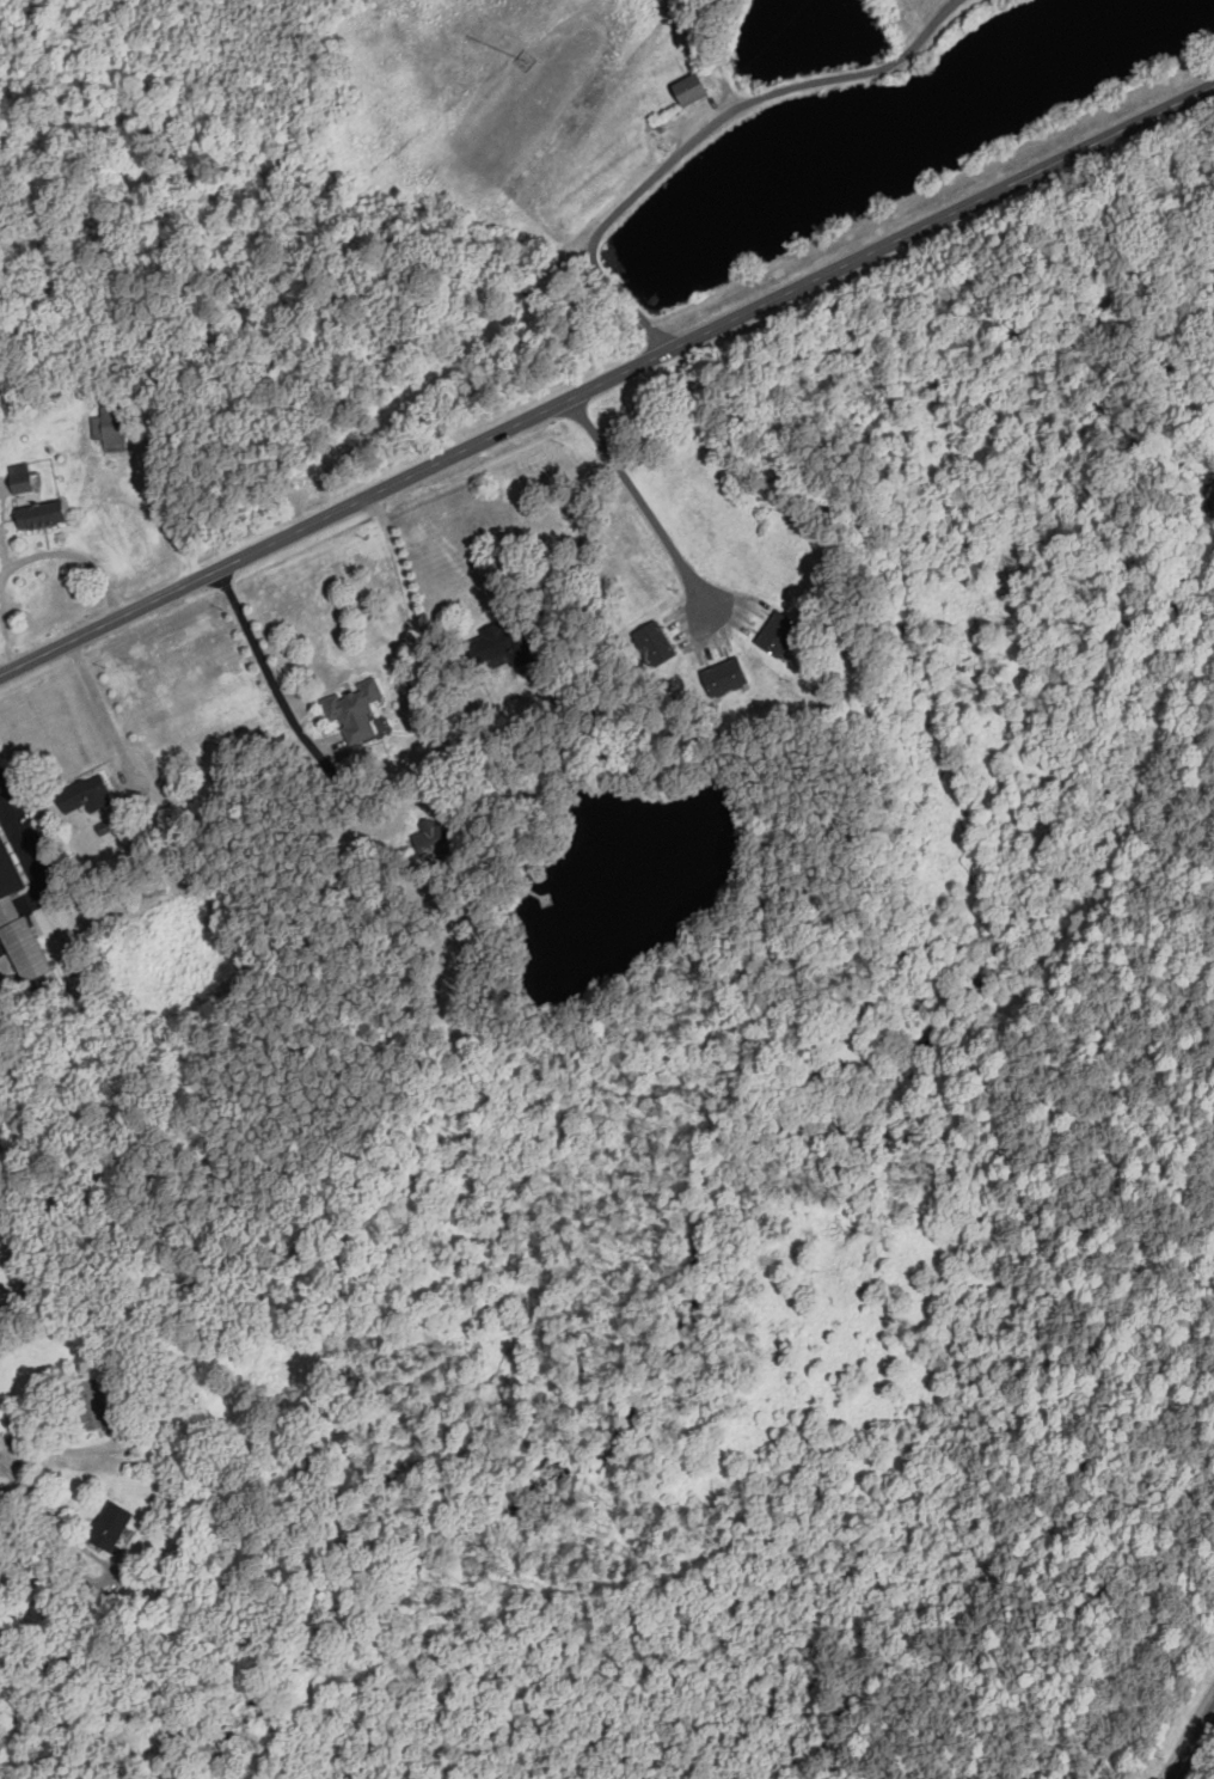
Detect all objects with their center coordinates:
road: (667, 85)
building: (692, 88)
road: (706, 128)
road: (607, 379)
building: (109, 427)
road: (634, 494)
building: (33, 501)
road: (161, 509)
road: (74, 552)
road: (404, 573)
road: (737, 622)
building: (779, 634)
road: (4, 635)
building: (498, 640)
building: (654, 643)
road: (253, 650)
building: (725, 677)
road: (97, 708)
building: (354, 711)
building: (86, 793)
road: (25, 857)
building: (8, 878)
building: (92, 1404)
building: (115, 1412)
road: (63, 1450)
building: (112, 1526)
road: (1192, 1746)

